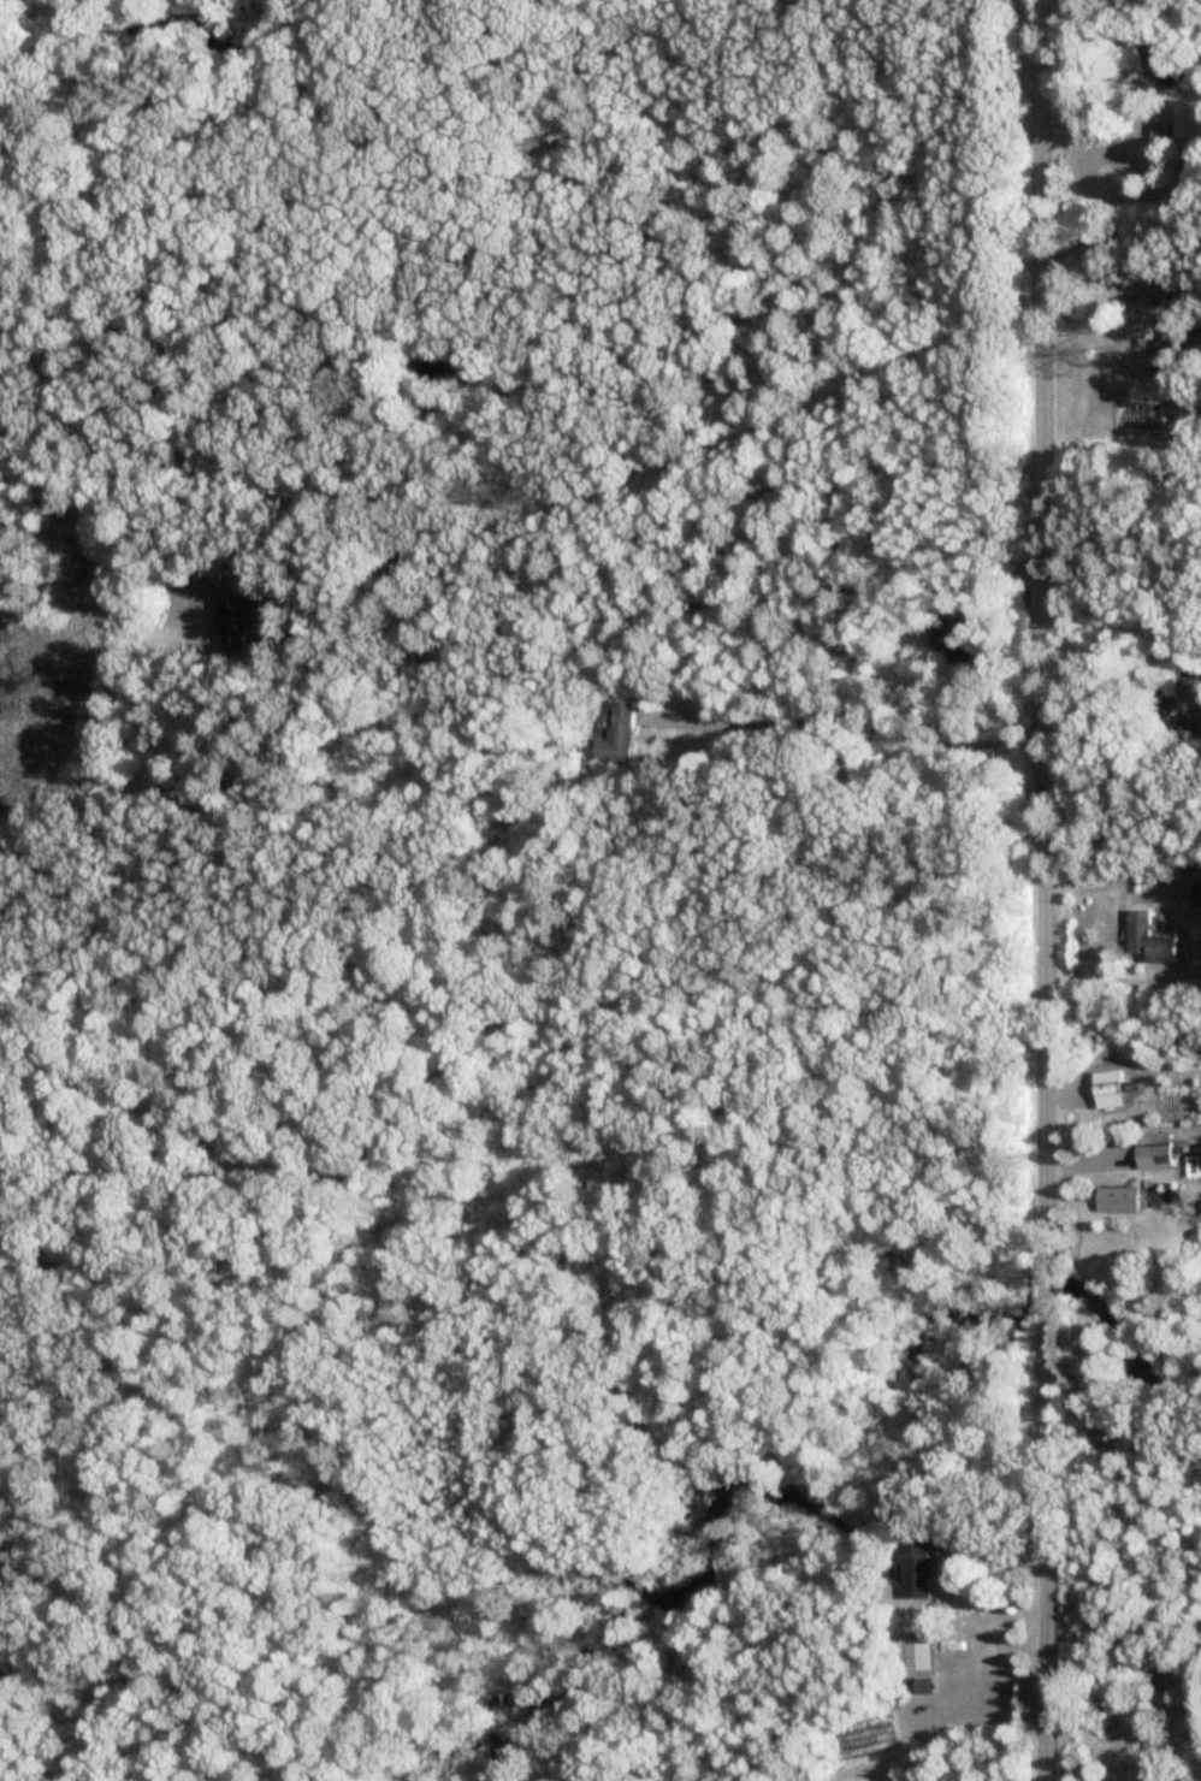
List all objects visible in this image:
road: (1108, 120)
building: (1160, 135)
building: (1191, 165)
building: (1196, 294)
building: (1170, 347)
road: (1120, 580)
road: (652, 611)
building: (236, 625)
road: (856, 723)
building: (619, 738)
road: (1111, 880)
road: (1043, 889)
building: (1196, 897)
building: (1148, 942)
road: (487, 1037)
building: (1106, 1090)
building: (1153, 1152)
building: (1114, 1201)
building: (916, 1570)
building: (915, 1663)
building: (1141, 1763)

